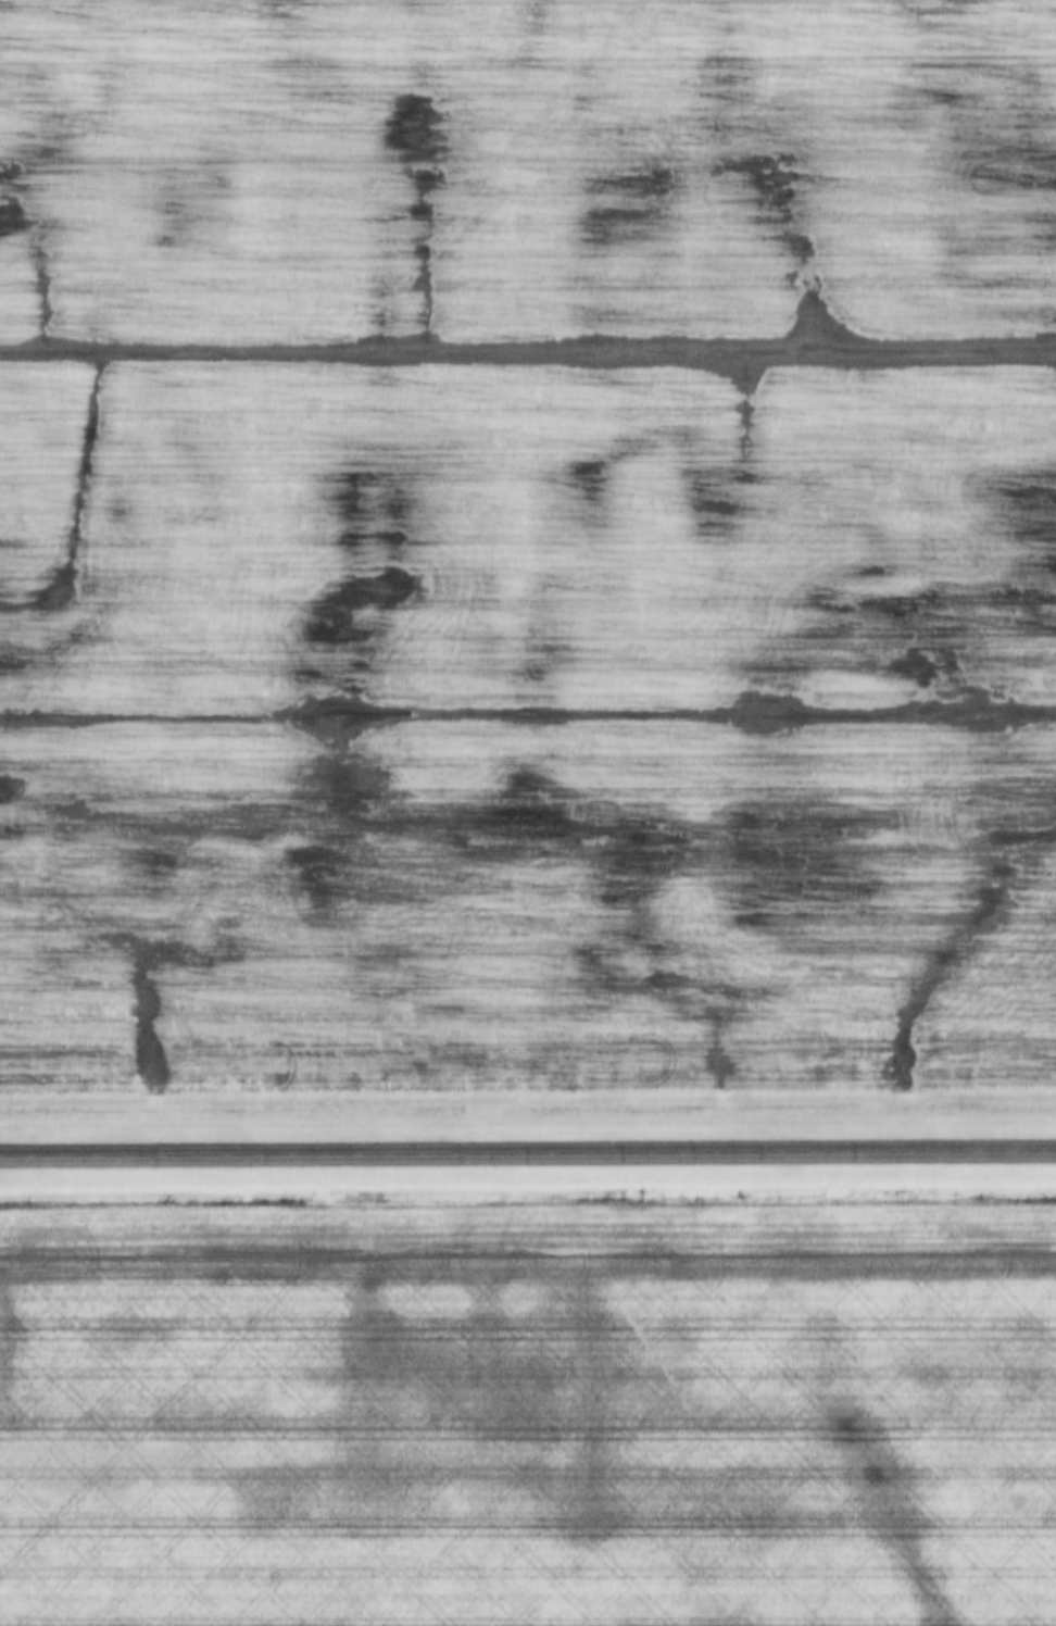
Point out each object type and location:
road: (528, 1162)
crop: (529, 1416)

